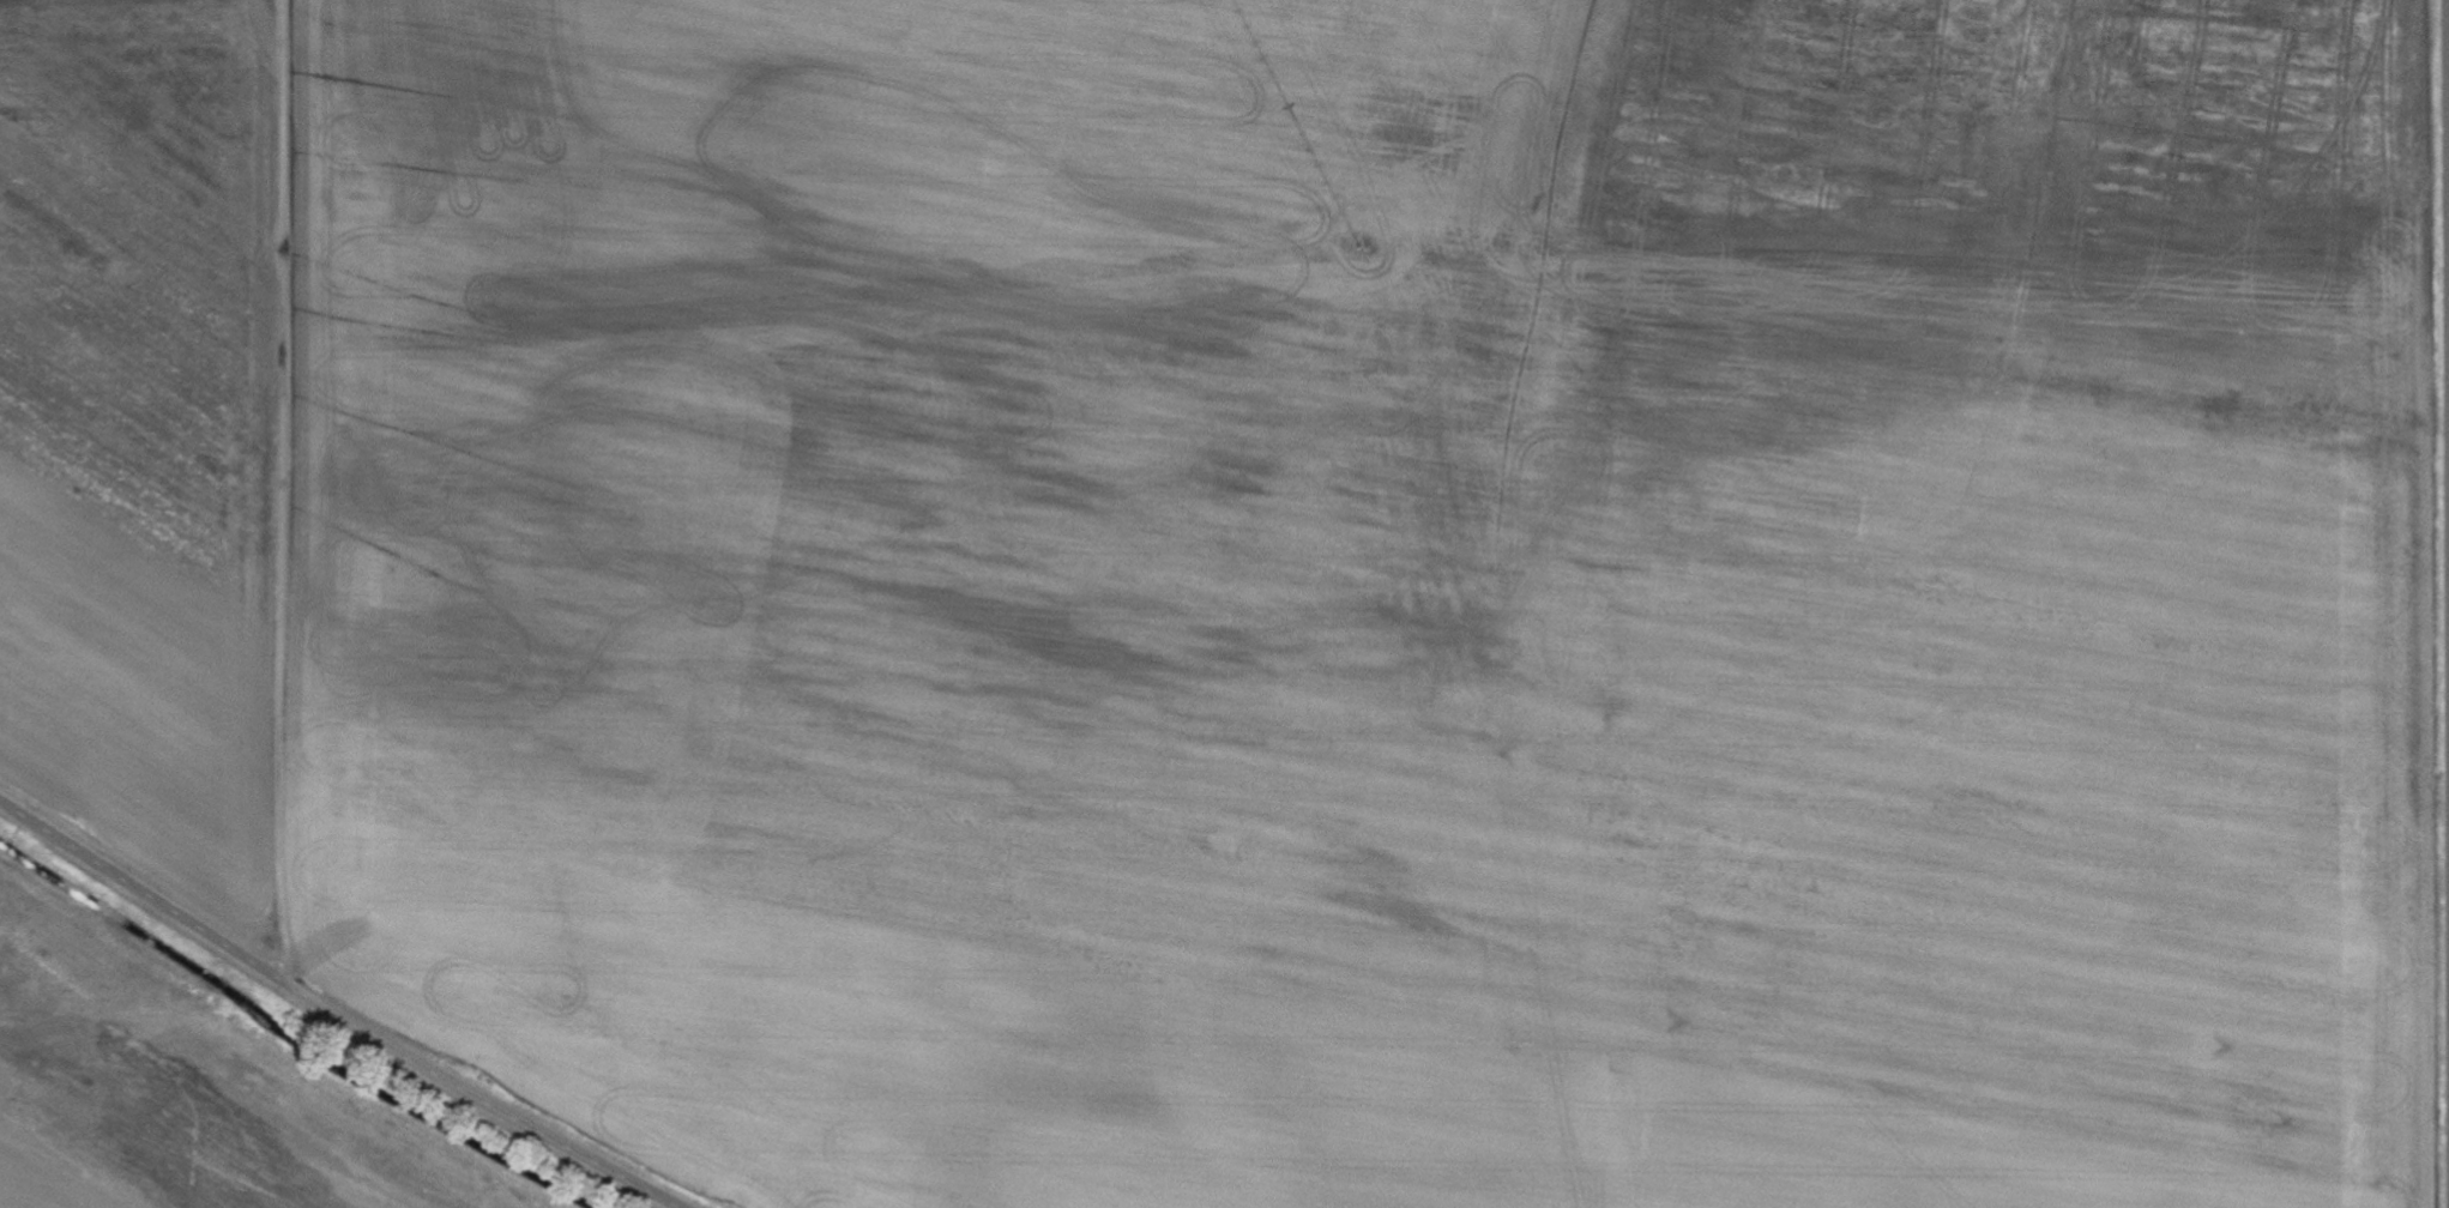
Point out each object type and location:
road: (2448, 121)
road: (334, 1007)

